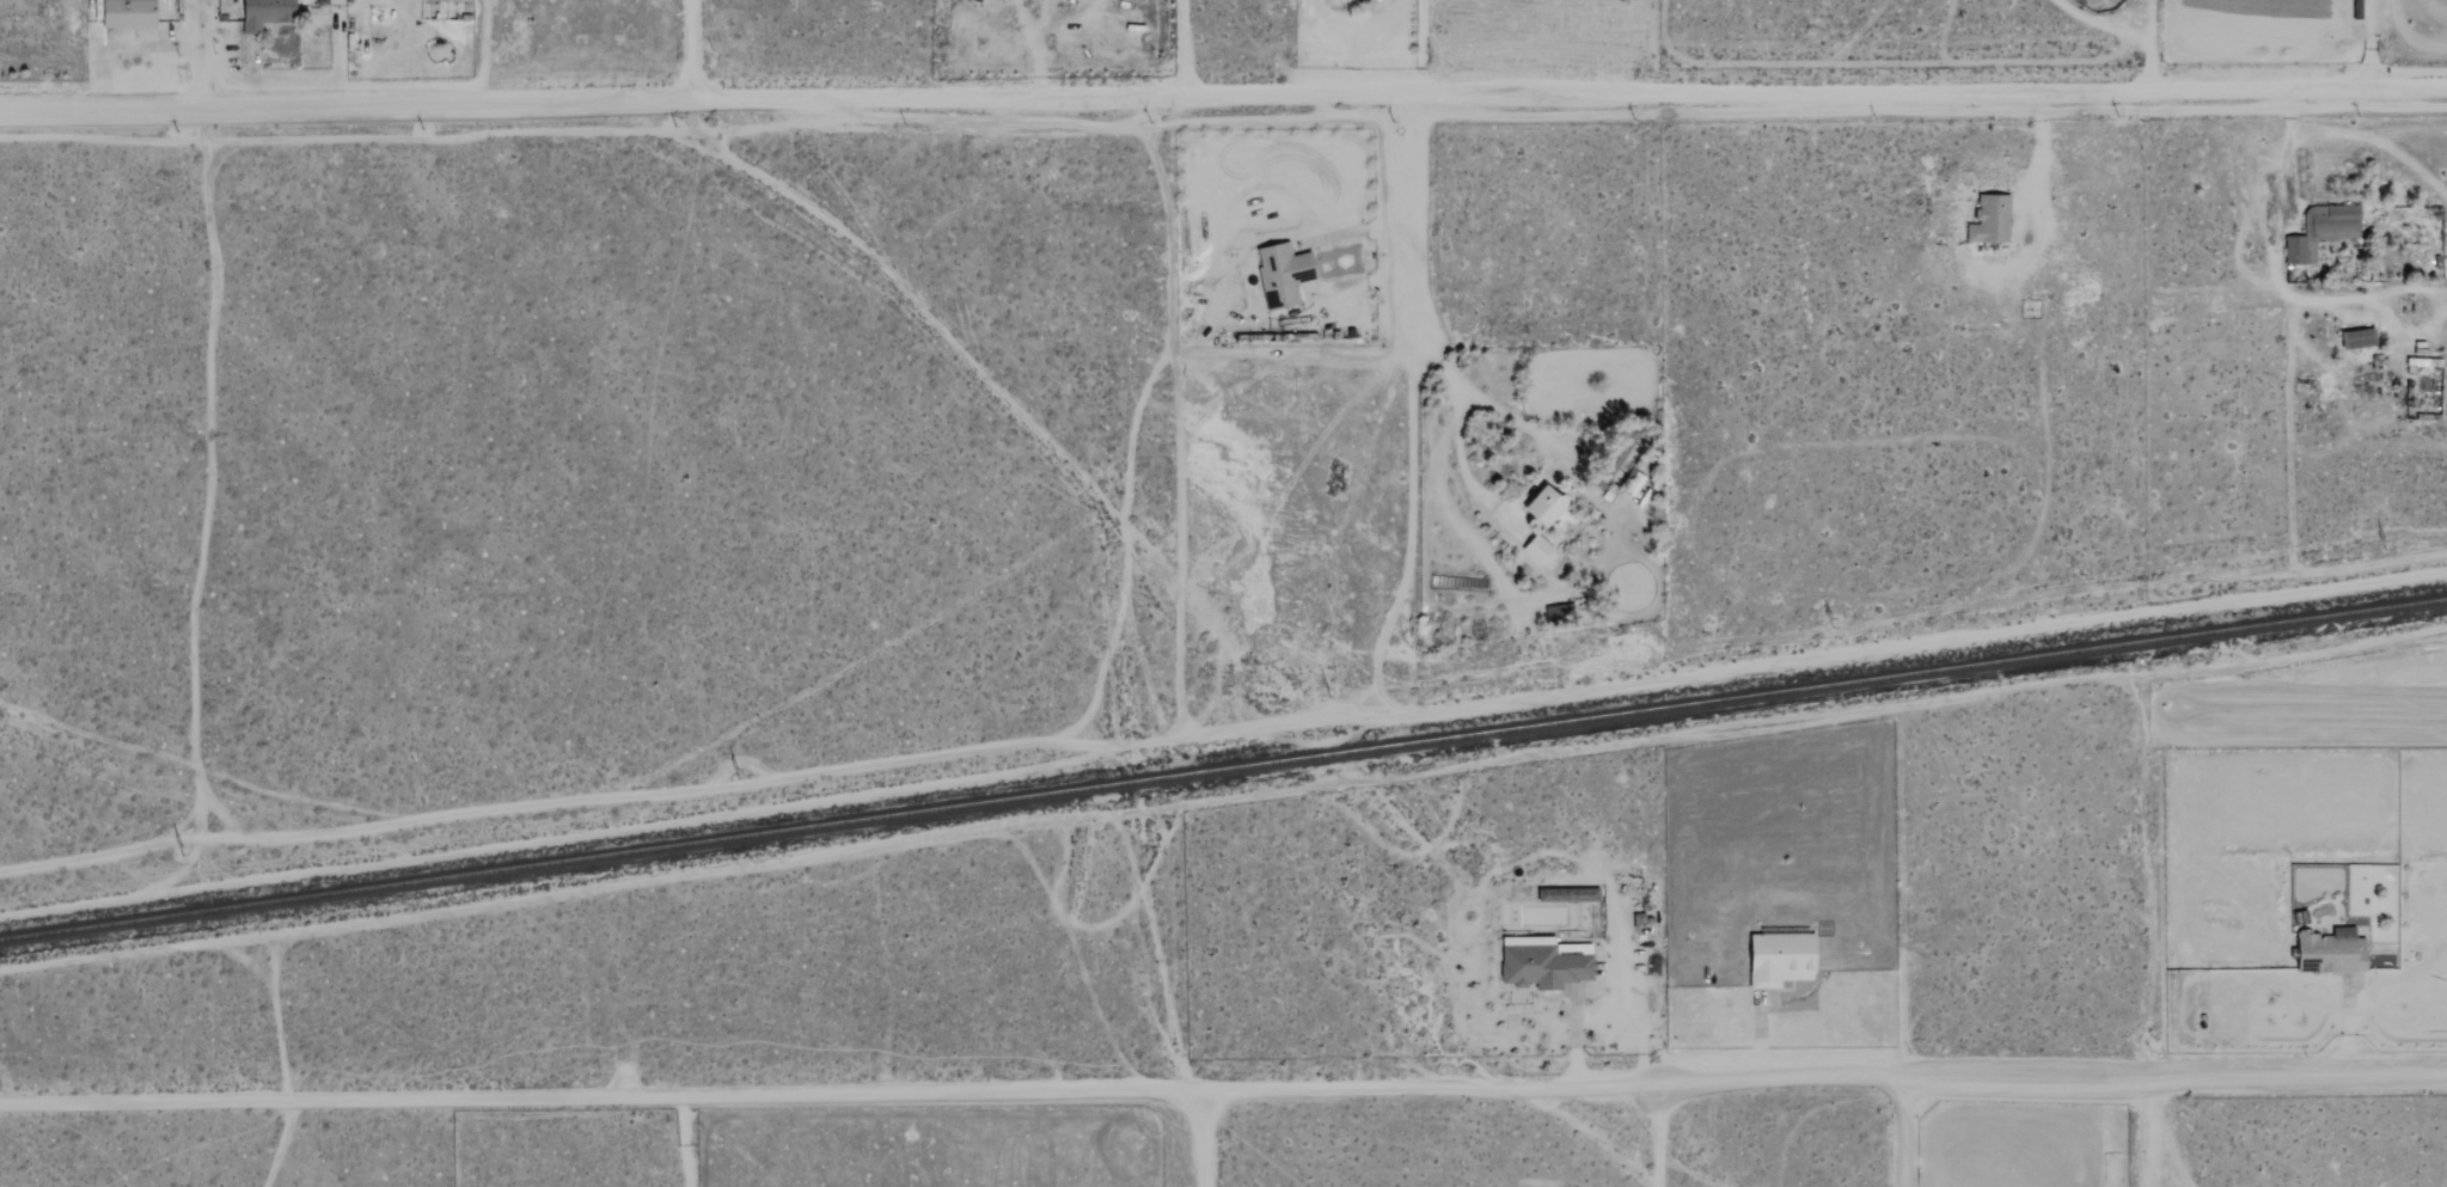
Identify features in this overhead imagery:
building: (130, 13)
building: (268, 13)
road: (2103, 22)
road: (1041, 33)
road: (2368, 42)
road: (2151, 43)
road: (123, 47)
road: (693, 48)
road: (1180, 48)
road: (1418, 48)
road: (198, 53)
road: (1223, 97)
road: (2357, 135)
road: (2038, 154)
building: (1993, 220)
building: (2324, 231)
road: (1298, 264)
building: (1285, 275)
road: (2382, 295)
building: (2361, 339)
road: (1411, 363)
road: (1547, 463)
building: (1549, 507)
power tower: (2384, 546)
building: (1540, 550)
building: (1560, 614)
power tower: (1829, 620)
power tower: (1323, 693)
railway: (1223, 767)
power tower: (736, 771)
power tower: (184, 855)
building: (1638, 922)
building: (2335, 952)
building: (1784, 957)
building: (1546, 962)
road: (2347, 1028)
road: (1758, 1036)
road: (1574, 1039)
road: (1223, 1095)
road: (1904, 1131)
road: (2147, 1132)
road: (1201, 1142)
road: (684, 1143)
road: (280, 1144)

